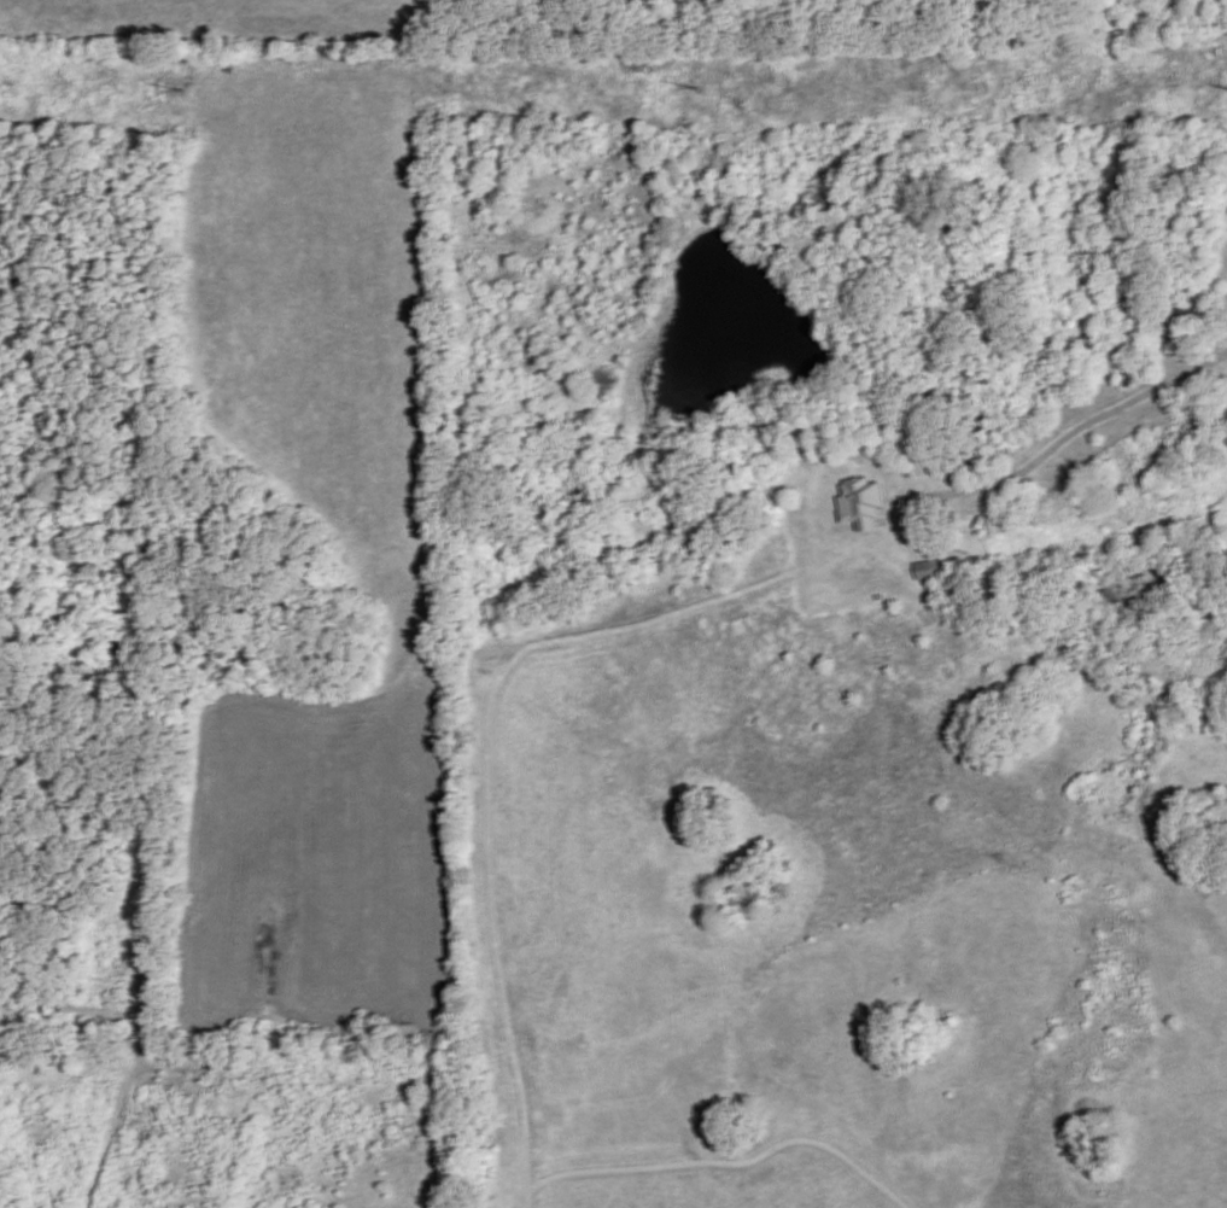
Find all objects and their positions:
building: (1187, 317)
building: (861, 502)
building: (924, 566)
road: (530, 654)

